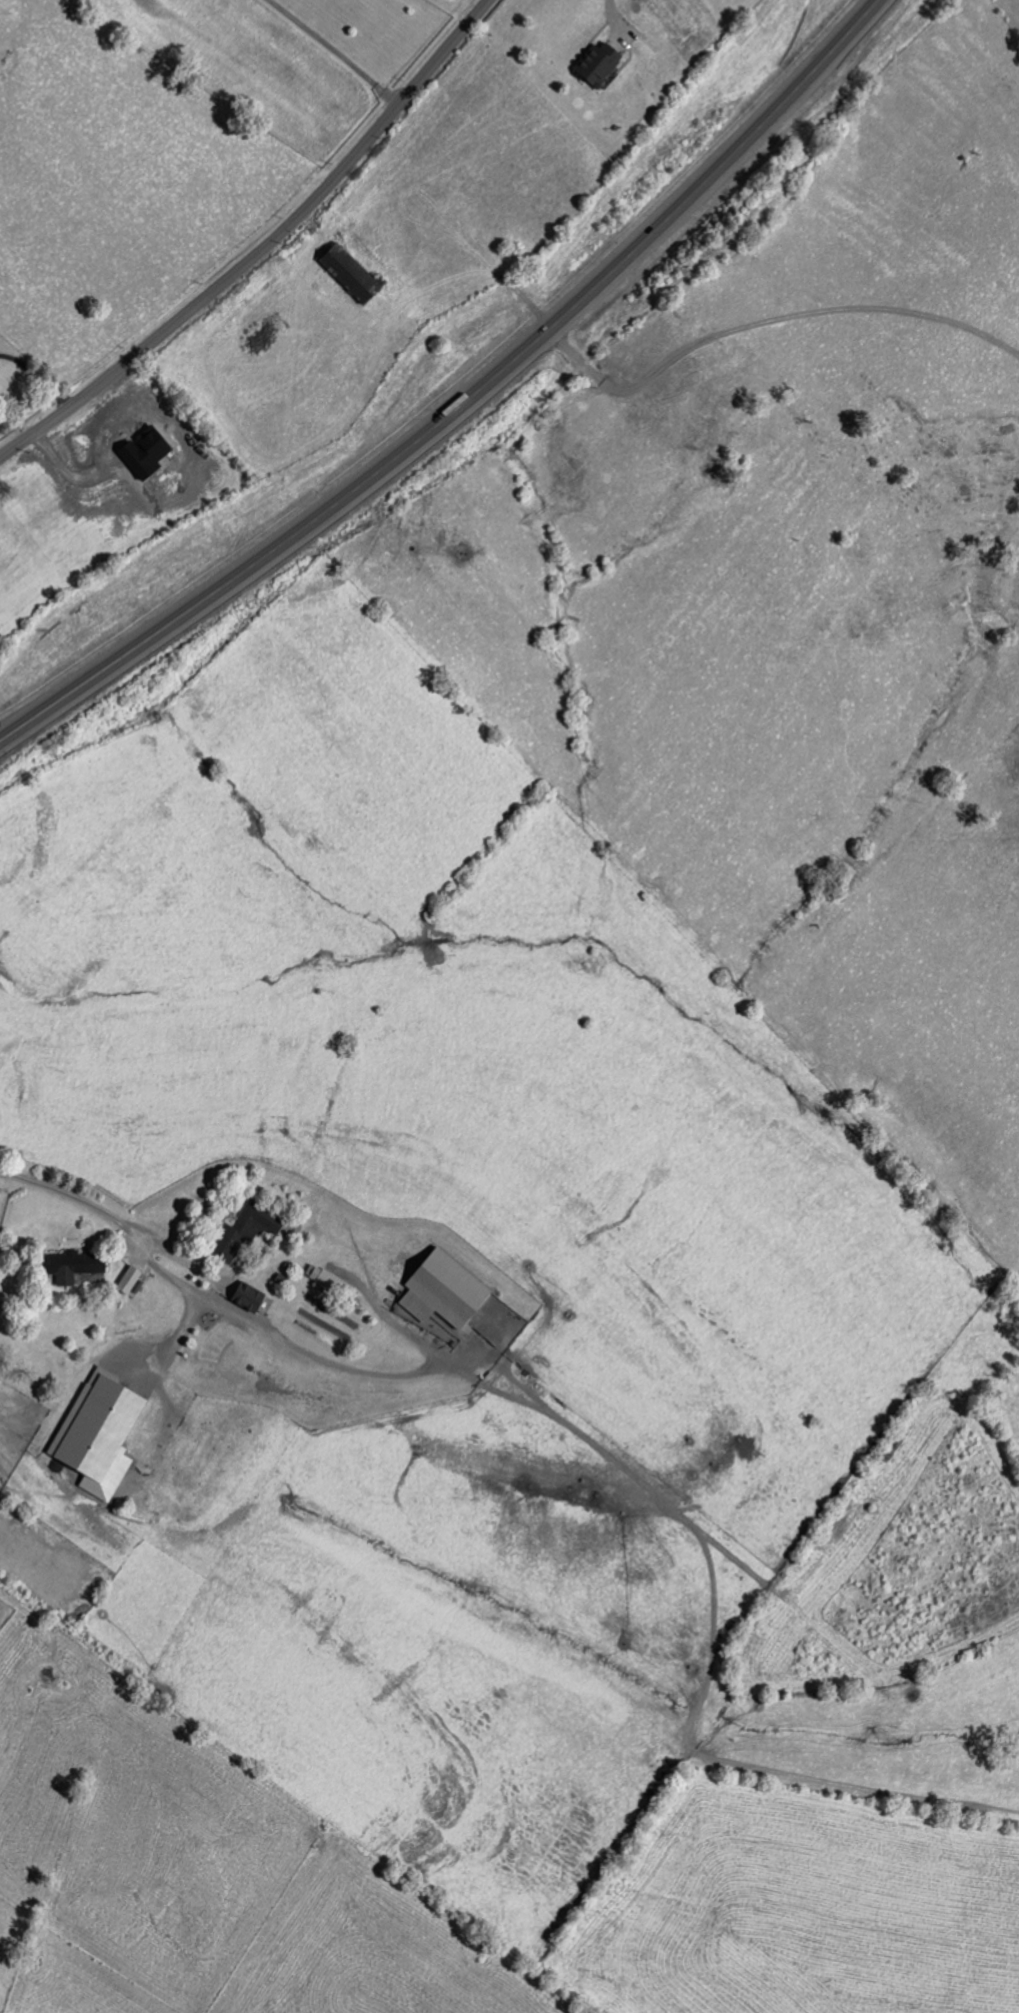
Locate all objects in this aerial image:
road: (611, 17)
road: (330, 53)
building: (594, 67)
road: (264, 250)
building: (347, 273)
road: (768, 322)
road: (39, 377)
road: (466, 402)
road: (116, 1221)
building: (240, 1233)
building: (69, 1267)
building: (127, 1282)
building: (330, 1285)
building: (439, 1292)
building: (246, 1298)
road: (180, 1329)
road: (309, 1355)
building: (96, 1435)

